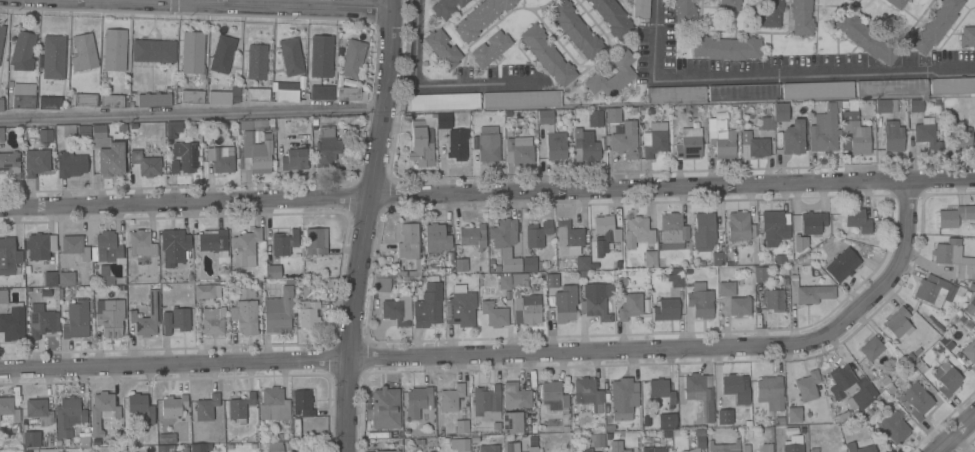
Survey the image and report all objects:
road: (189, 0)
building: (587, 0)
building: (850, 0)
road: (289, 2)
road: (272, 3)
building: (897, 3)
building: (729, 5)
building: (446, 7)
building: (641, 9)
building: (685, 11)
building: (770, 13)
building: (481, 17)
building: (613, 17)
building: (801, 17)
building: (935, 25)
building: (575, 29)
building: (1, 36)
building: (967, 36)
building: (867, 38)
building: (726, 47)
building: (443, 48)
building: (491, 48)
building: (22, 49)
building: (115, 49)
building: (153, 50)
building: (83, 52)
building: (192, 53)
building: (222, 53)
building: (321, 55)
building: (547, 55)
building: (291, 56)
building: (53, 57)
building: (353, 58)
building: (256, 61)
building: (612, 75)
road: (777, 76)
road: (443, 84)
building: (952, 85)
building: (892, 87)
building: (817, 89)
building: (288, 91)
building: (321, 92)
building: (744, 92)
building: (351, 93)
building: (257, 94)
building: (675, 94)
building: (23, 95)
building: (192, 96)
building: (225, 96)
building: (85, 99)
building: (521, 99)
building: (111, 100)
building: (154, 100)
building: (444, 101)
building: (50, 102)
building: (1, 103)
building: (919, 105)
building: (883, 106)
building: (780, 111)
road: (191, 113)
building: (613, 114)
building: (545, 116)
building: (595, 119)
building: (445, 120)
building: (766, 123)
building: (245, 124)
building: (115, 128)
building: (173, 128)
building: (825, 128)
building: (68, 130)
building: (83, 131)
building: (98, 131)
building: (1, 134)
building: (854, 134)
building: (45, 135)
building: (926, 135)
building: (961, 136)
building: (891, 137)
building: (721, 138)
building: (793, 138)
building: (654, 139)
building: (624, 140)
building: (136, 143)
building: (422, 143)
building: (487, 143)
building: (688, 143)
building: (586, 144)
building: (755, 144)
building: (454, 145)
building: (556, 145)
building: (327, 147)
building: (519, 148)
building: (256, 152)
building: (183, 156)
building: (294, 157)
building: (222, 158)
building: (111, 159)
building: (36, 161)
building: (145, 163)
building: (10, 164)
building: (70, 164)
road: (487, 192)
building: (955, 215)
building: (858, 219)
building: (810, 223)
road: (364, 225)
building: (739, 226)
building: (774, 226)
building: (638, 231)
building: (672, 231)
building: (704, 232)
building: (537, 233)
building: (605, 233)
building: (473, 236)
building: (436, 237)
building: (568, 238)
building: (173, 240)
building: (214, 241)
building: (315, 241)
building: (408, 241)
building: (283, 242)
building: (505, 243)
building: (141, 244)
building: (75, 246)
building: (245, 246)
building: (40, 247)
building: (106, 248)
building: (9, 256)
building: (953, 257)
building: (717, 258)
building: (650, 259)
building: (582, 263)
building: (461, 264)
building: (529, 264)
building: (842, 264)
building: (273, 272)
building: (760, 274)
building: (104, 275)
building: (676, 277)
building: (50, 278)
building: (66, 278)
building: (519, 279)
building: (504, 282)
building: (381, 284)
building: (726, 288)
building: (931, 290)
building: (205, 291)
building: (809, 292)
building: (3, 296)
building: (560, 297)
building: (777, 299)
building: (596, 300)
building: (700, 300)
building: (630, 305)
building: (739, 305)
building: (970, 305)
building: (153, 309)
building: (398, 309)
building: (461, 309)
building: (667, 309)
building: (428, 310)
building: (527, 310)
building: (279, 311)
building: (245, 313)
building: (308, 313)
building: (494, 314)
building: (108, 317)
building: (76, 319)
building: (40, 320)
building: (176, 320)
building: (213, 321)
building: (899, 322)
building: (12, 324)
building: (875, 348)
building: (969, 350)
road: (506, 352)
building: (946, 378)
building: (841, 380)
building: (808, 385)
building: (737, 387)
building: (661, 390)
building: (770, 392)
building: (588, 393)
building: (867, 393)
building: (555, 394)
building: (700, 394)
building: (516, 395)
building: (451, 397)
building: (624, 398)
building: (486, 400)
building: (917, 400)
building: (418, 401)
building: (303, 403)
building: (274, 404)
building: (550, 404)
building: (174, 405)
building: (141, 406)
building: (206, 407)
building: (240, 407)
building: (9, 408)
building: (385, 408)
building: (39, 410)
building: (102, 411)
building: (794, 414)
building: (69, 416)
building: (725, 417)
building: (667, 420)
building: (512, 421)
building: (462, 425)
building: (892, 427)
road: (955, 432)
building: (167, 437)
building: (31, 439)
building: (596, 439)
building: (698, 440)
building: (858, 443)
building: (460, 444)
building: (537, 444)
building: (275, 446)
building: (512, 446)
building: (616, 446)
building: (200, 447)
building: (724, 447)
building: (765, 447)
building: (793, 447)
building: (165, 448)
building: (489, 448)
building: (746, 448)
building: (586, 449)
building: (654, 449)
building: (387, 450)
building: (814, 450)
building: (432, 451)

